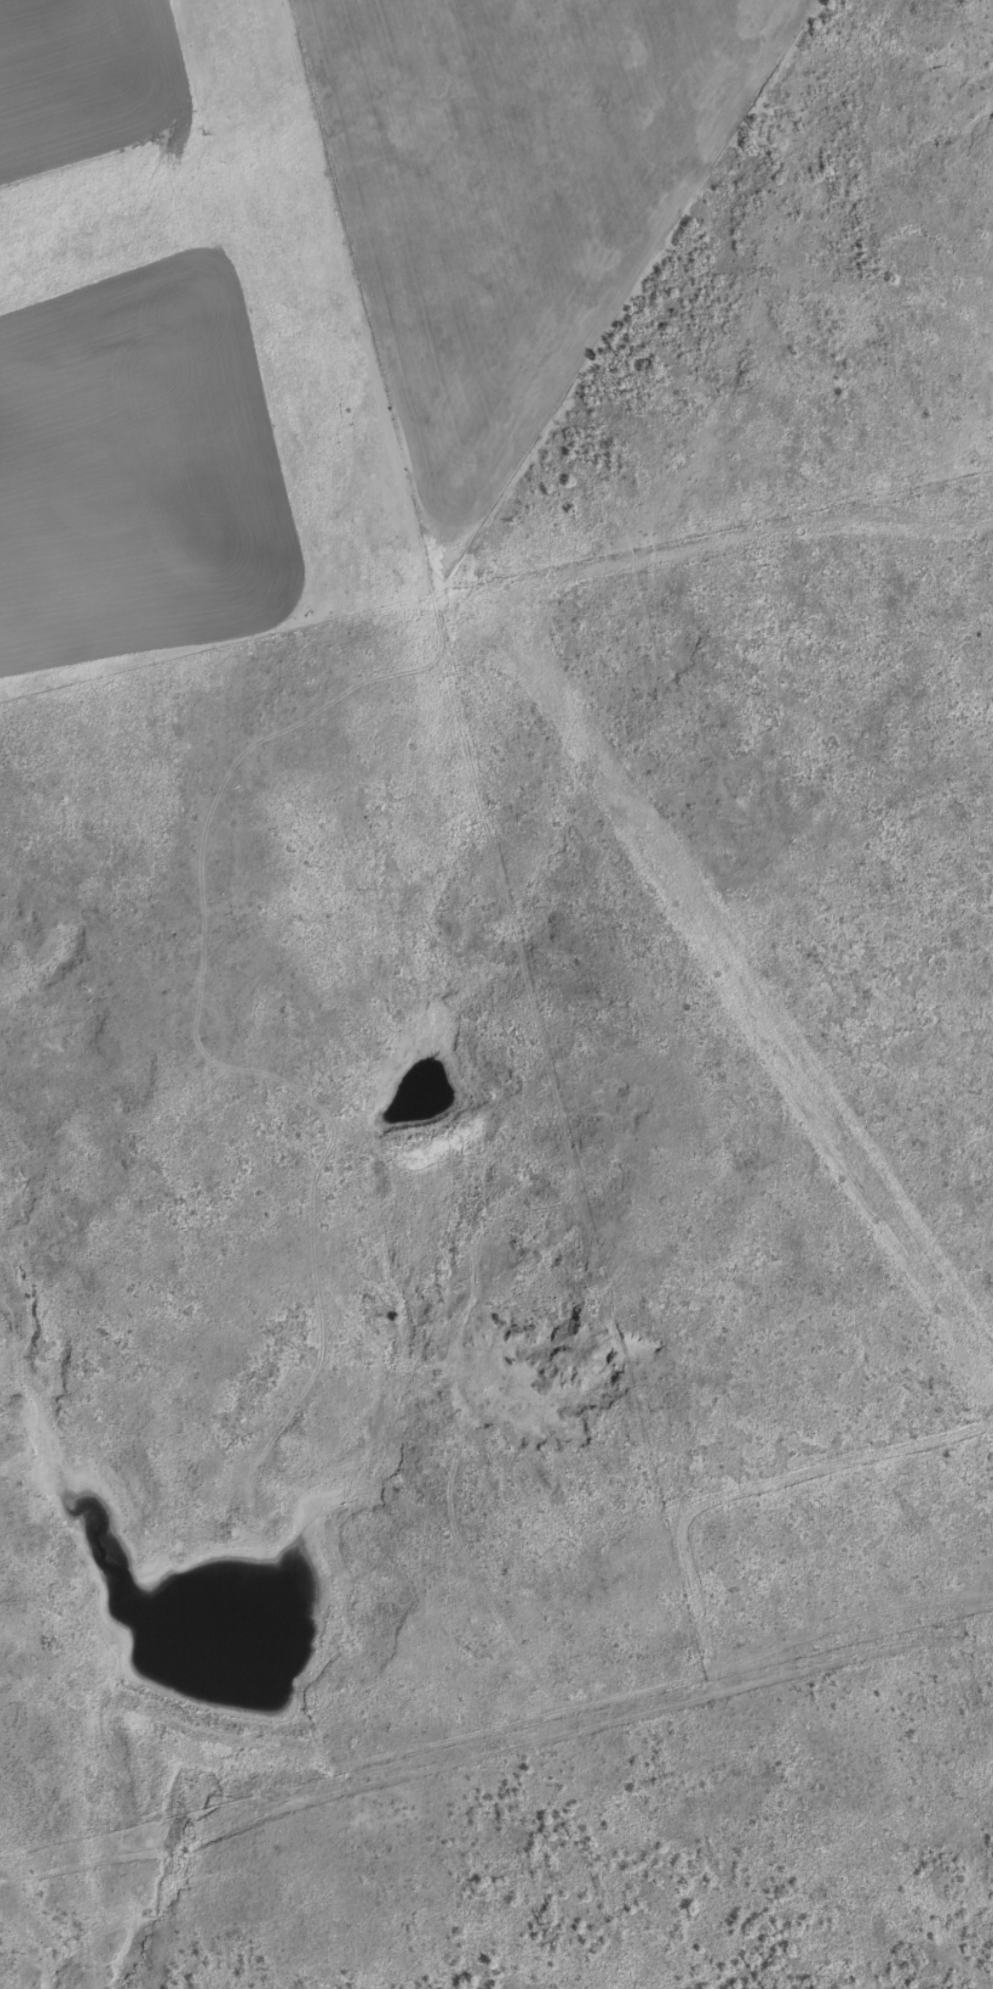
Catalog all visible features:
road: (295, 681)

